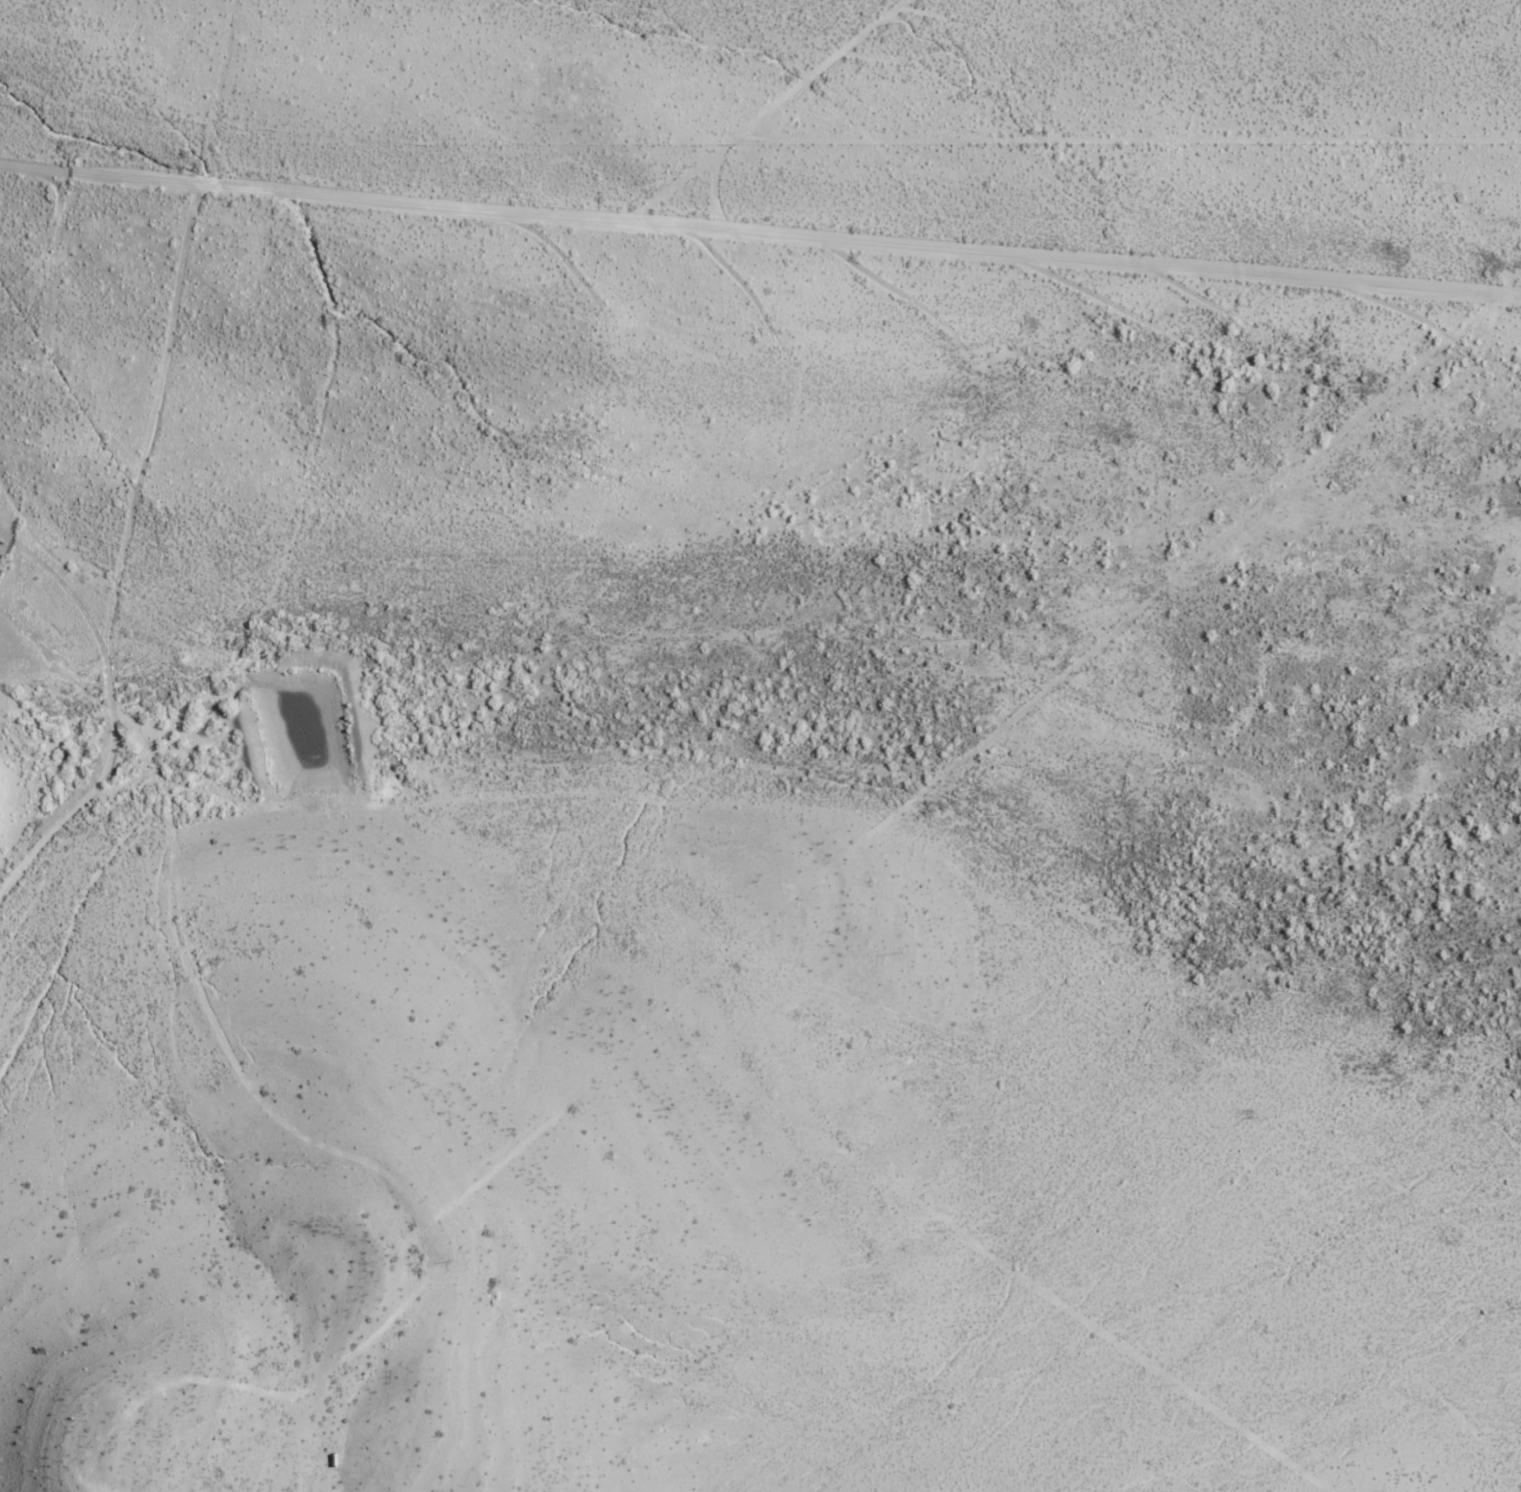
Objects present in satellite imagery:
road: (763, 111)
road: (715, 200)
road: (760, 234)
road: (118, 553)
road: (207, 963)

